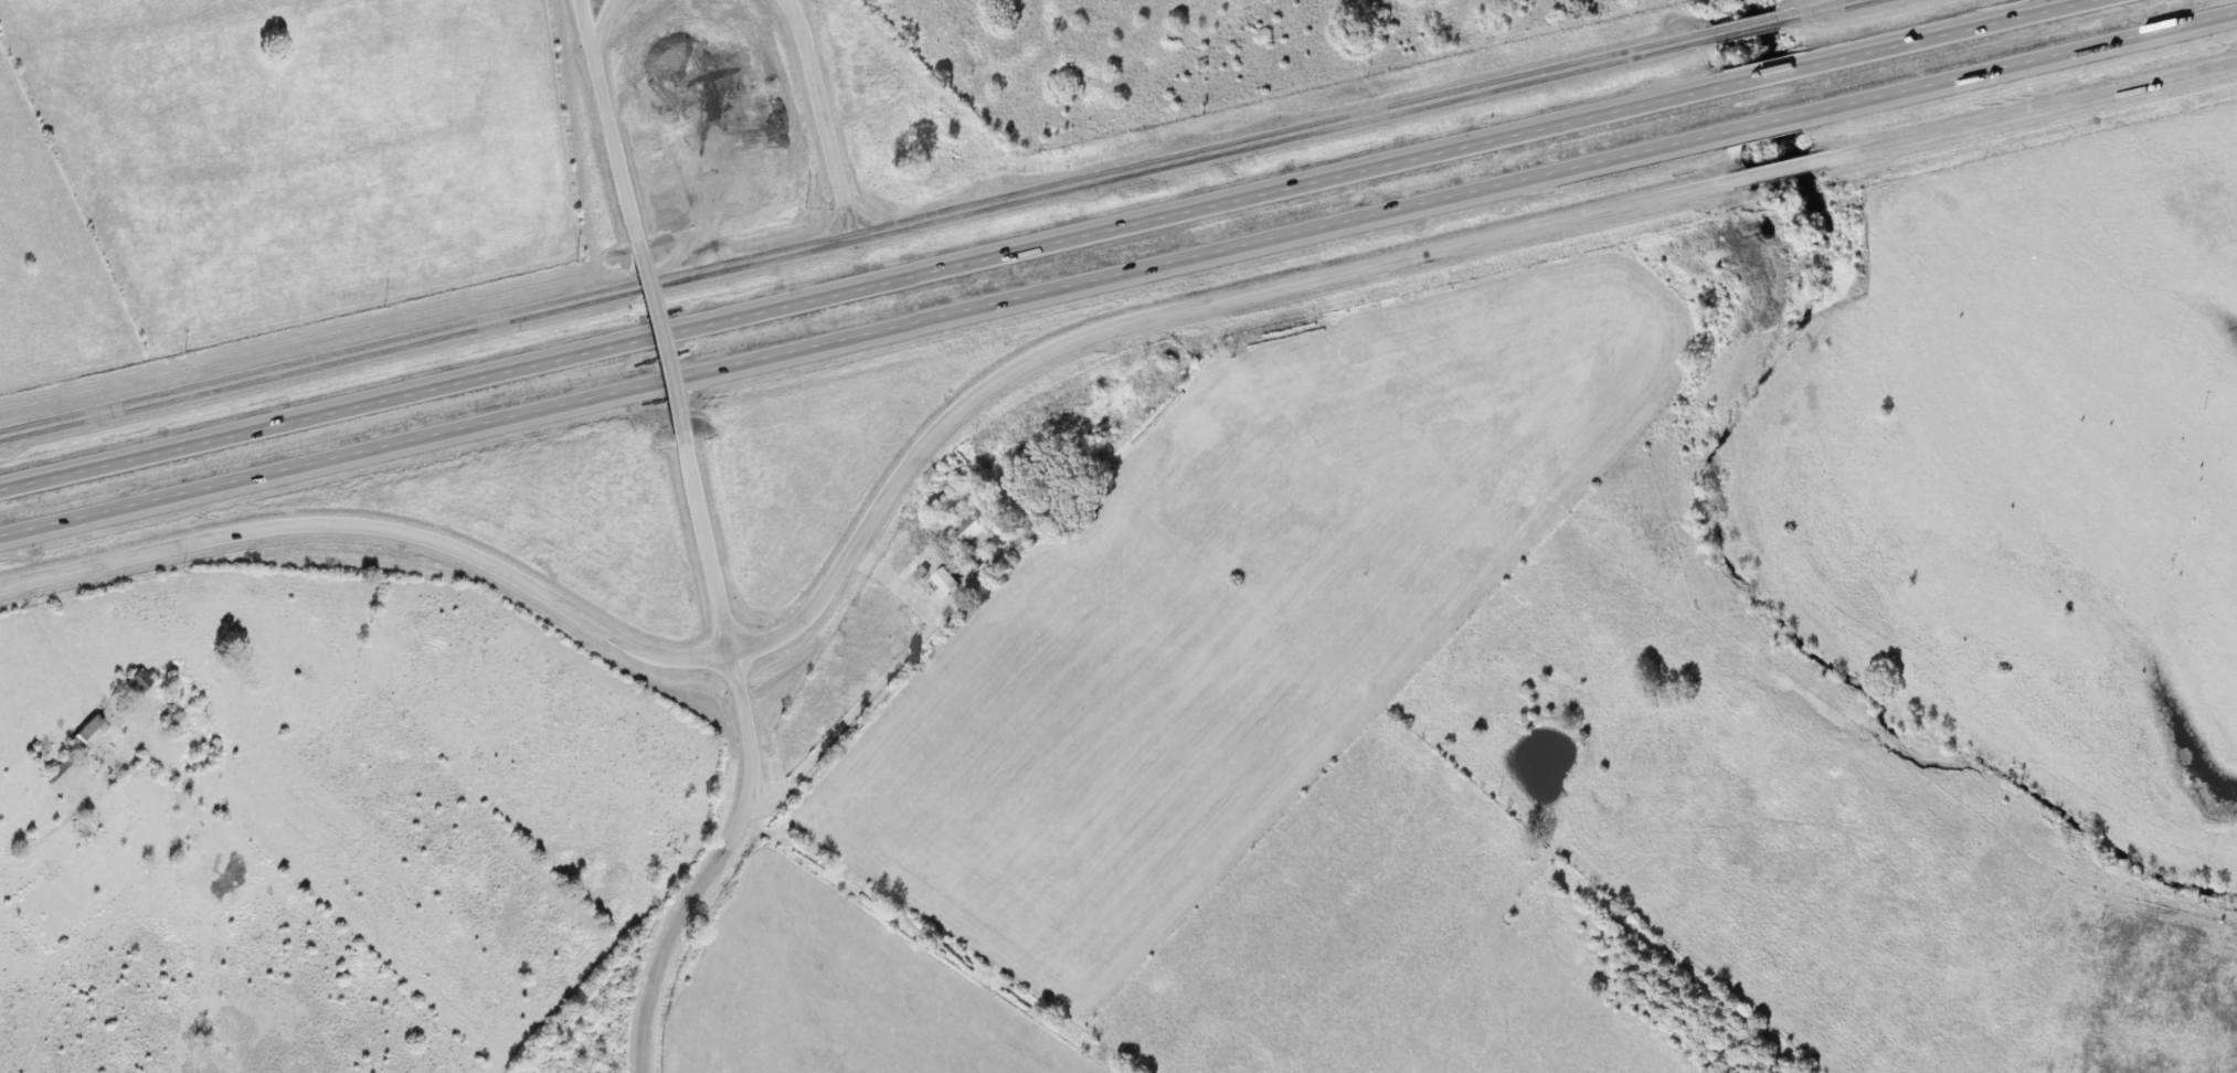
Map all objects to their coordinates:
road: (1817, 9)
road: (597, 23)
road: (1746, 26)
road: (2031, 109)
road: (824, 114)
road: (606, 119)
road: (1778, 168)
road: (857, 231)
road: (1046, 244)
road: (1118, 275)
road: (656, 341)
road: (866, 523)
building: (973, 532)
road: (704, 546)
building: (138, 681)
road: (861, 705)
building: (86, 733)
road: (714, 865)

